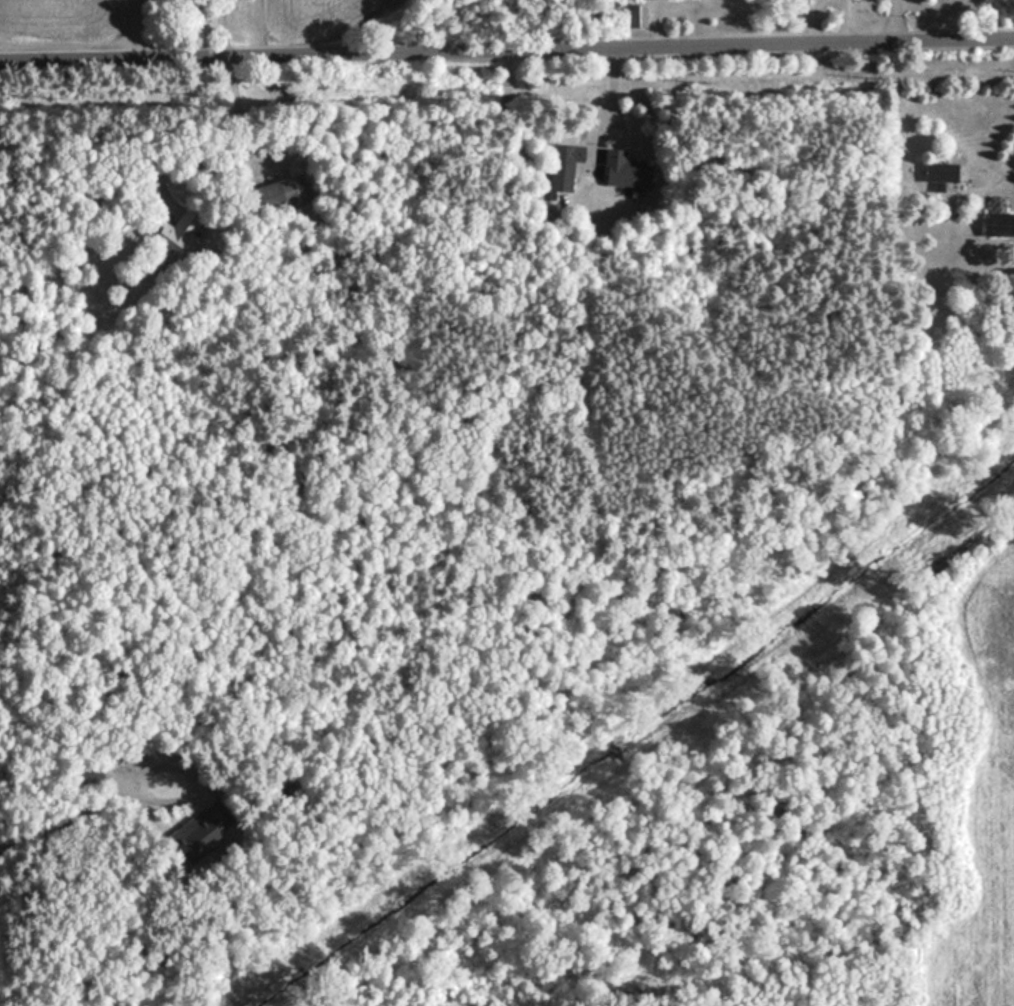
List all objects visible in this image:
building: (634, 17)
road: (506, 51)
road: (1005, 161)
building: (564, 165)
building: (625, 171)
building: (938, 172)
building: (288, 194)
building: (991, 225)
building: (211, 834)

